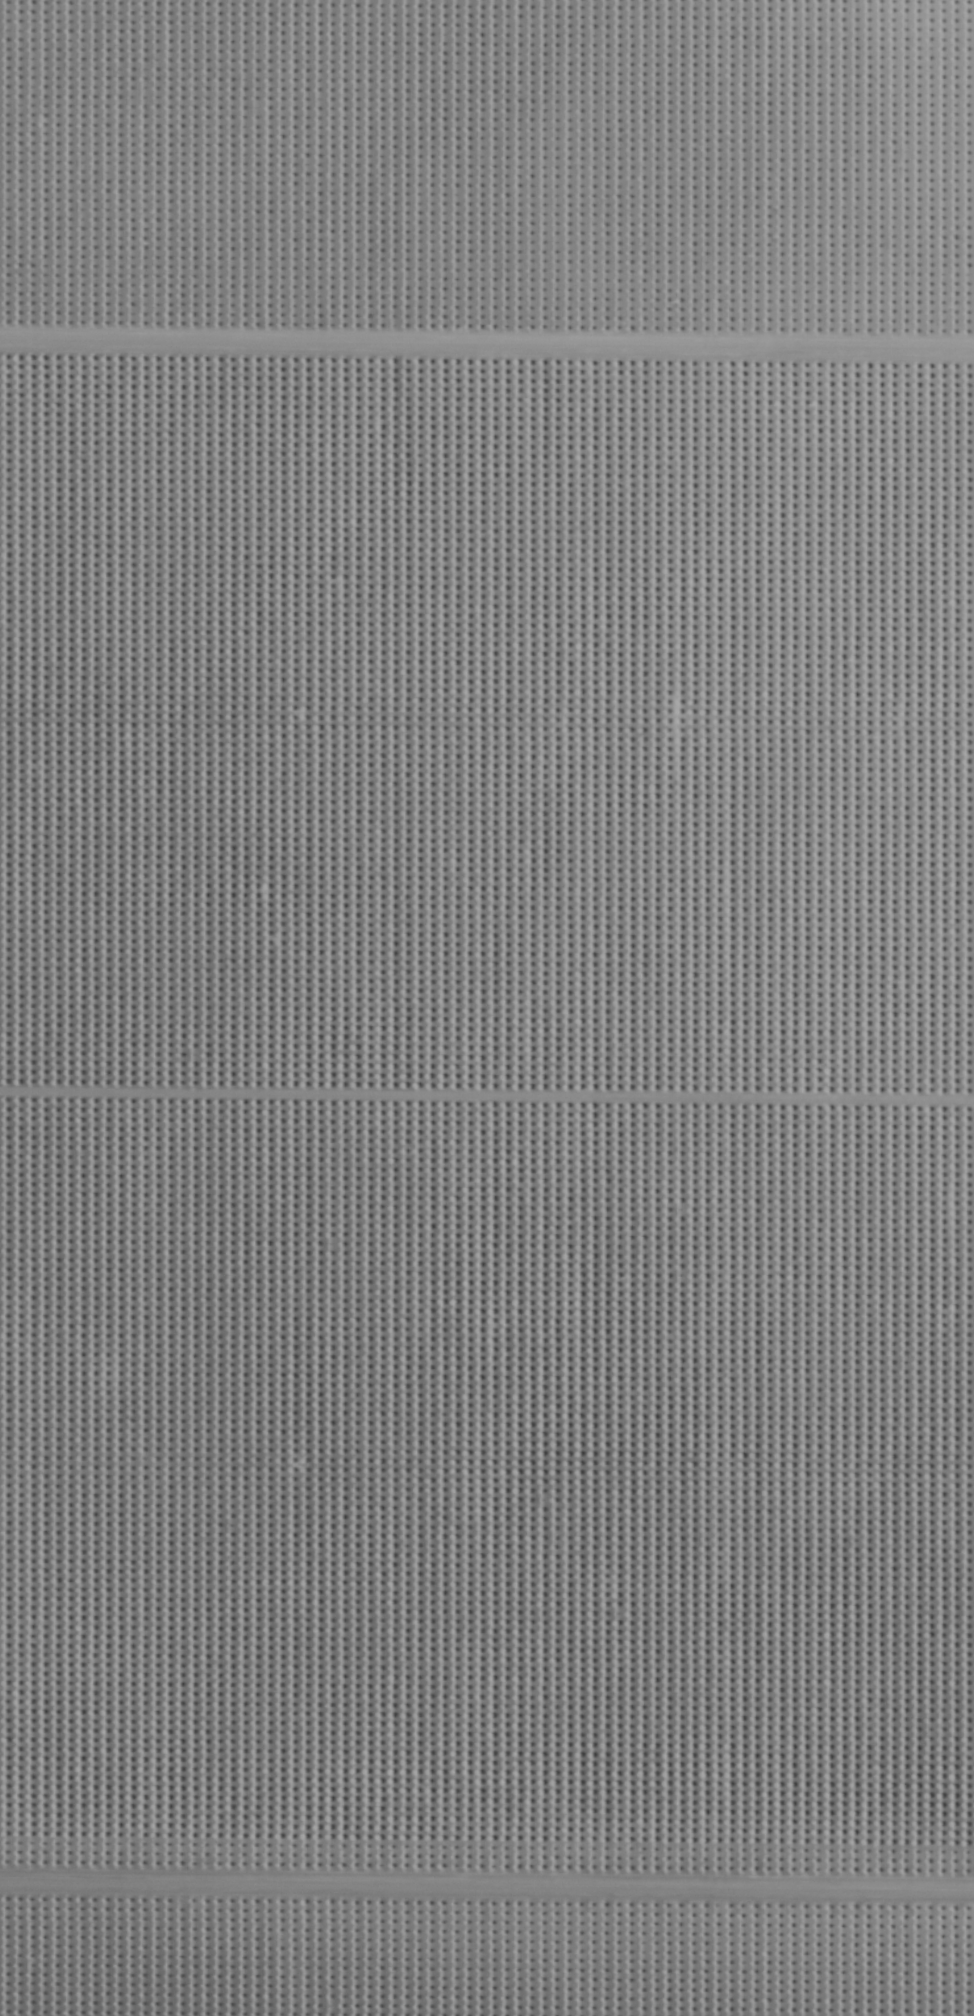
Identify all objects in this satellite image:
crop: (487, 1008)
road: (487, 1854)

